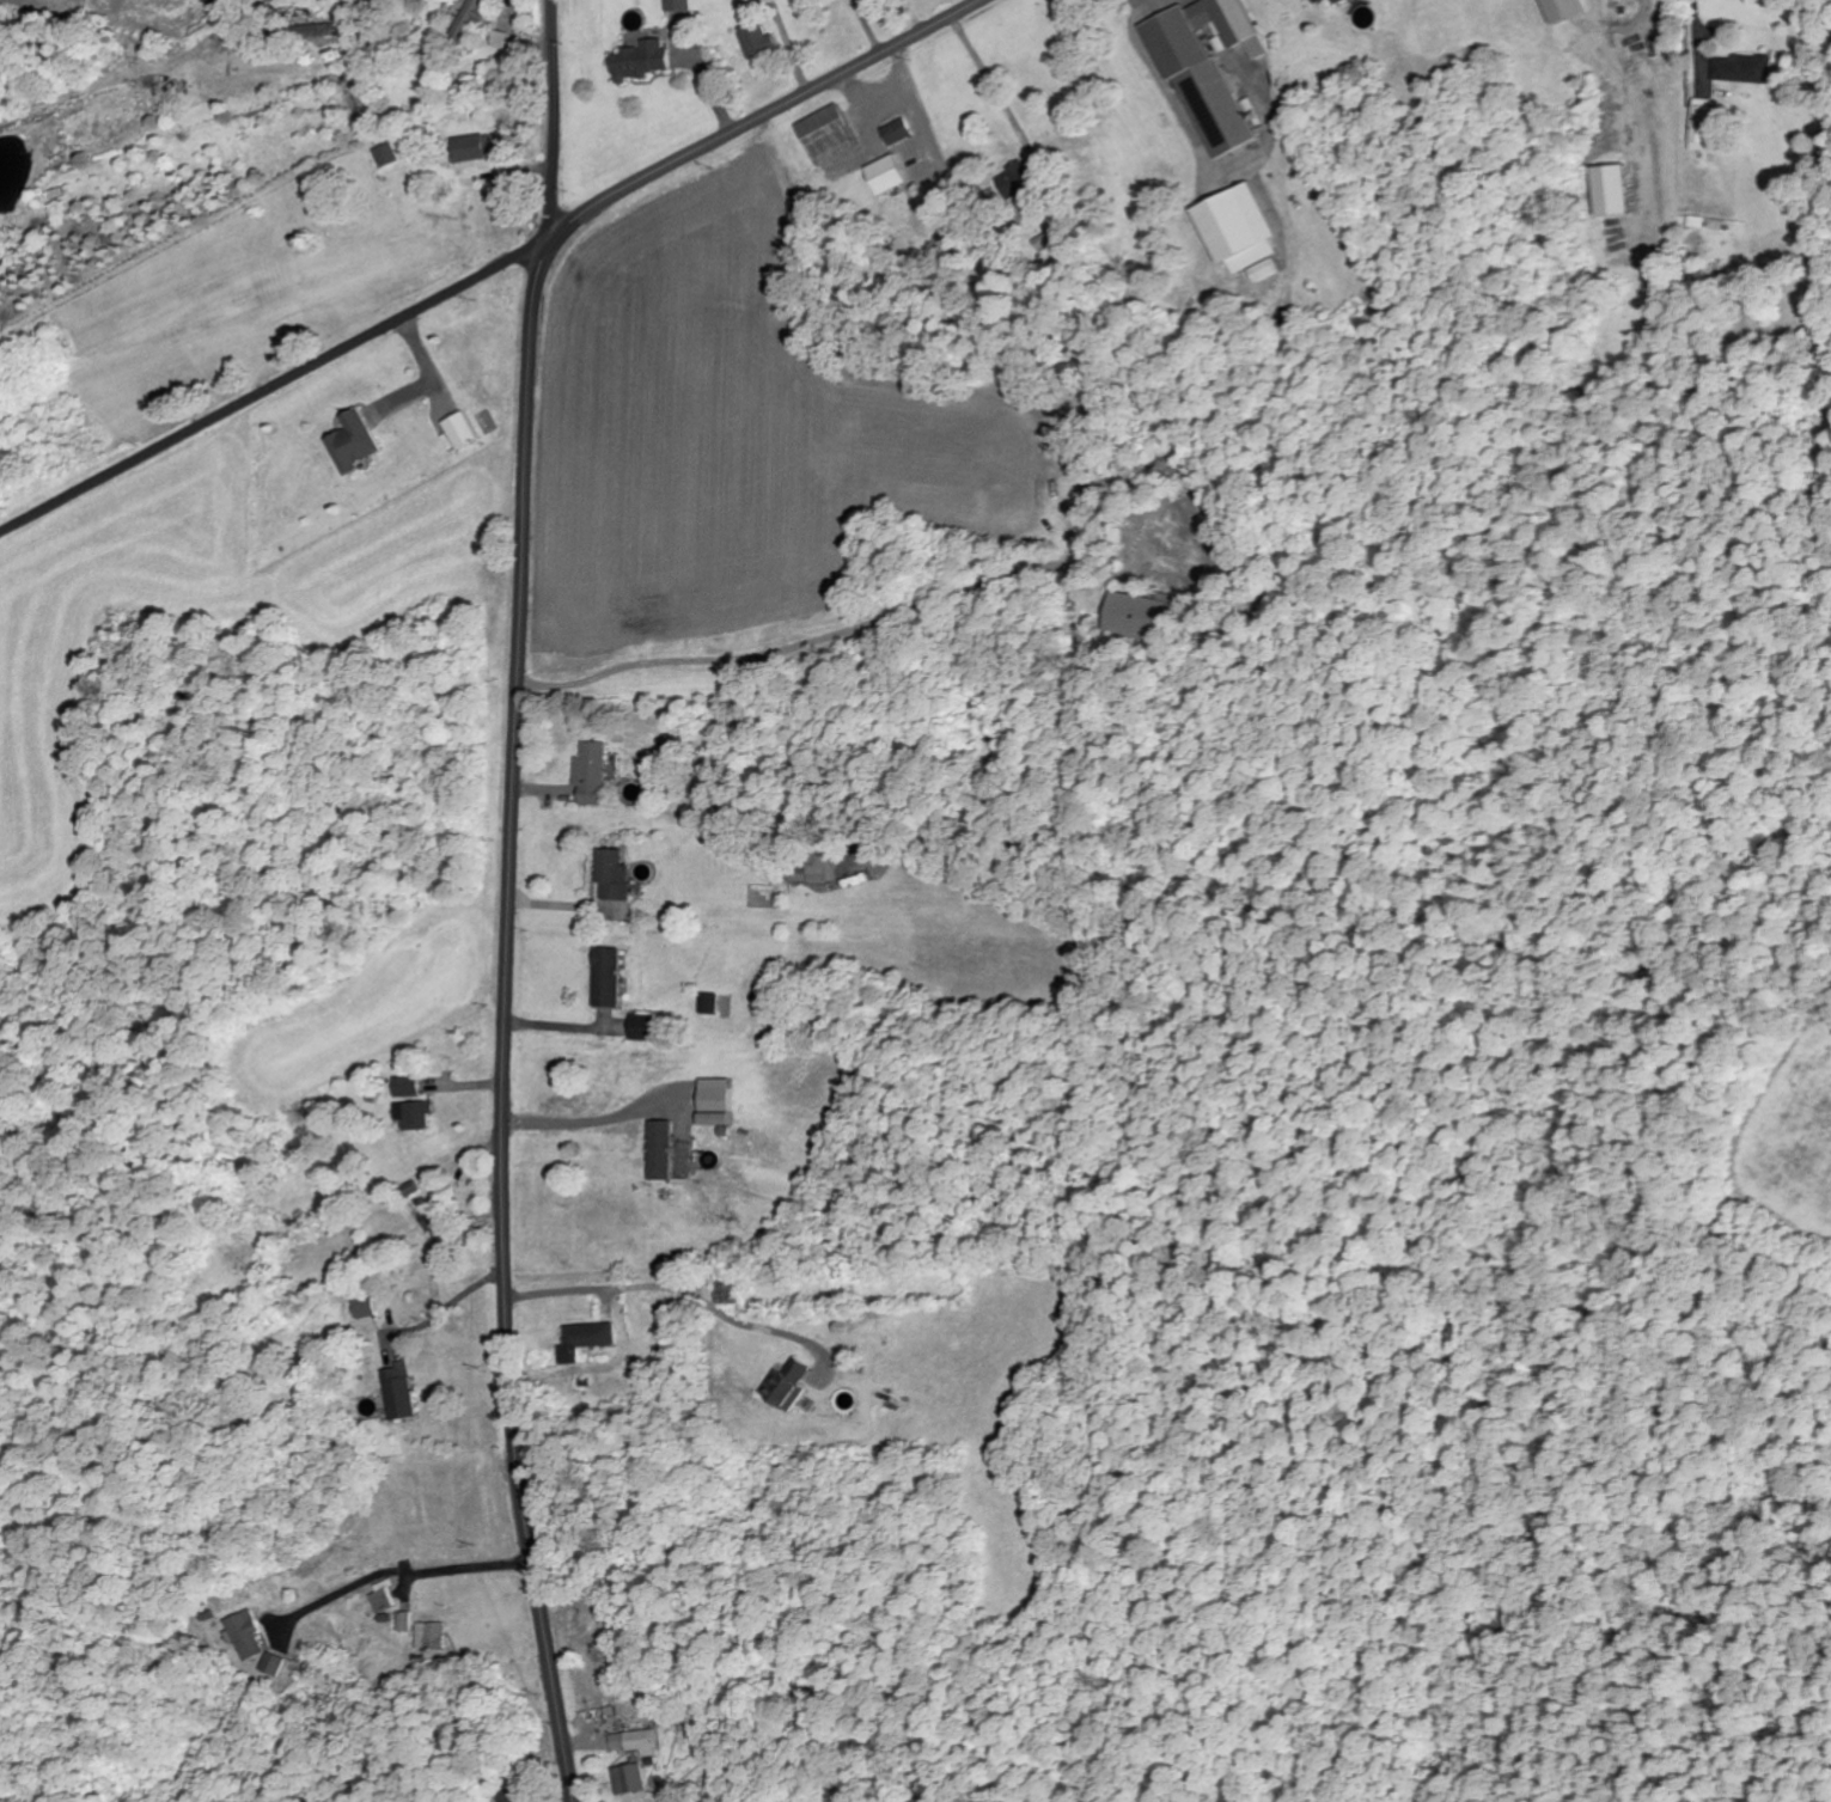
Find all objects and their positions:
building: (1316, 2)
building: (1337, 2)
building: (1561, 11)
building: (677, 18)
building: (756, 42)
building: (639, 62)
building: (1204, 68)
building: (1742, 71)
road: (554, 117)
building: (1699, 128)
building: (895, 134)
building: (825, 136)
building: (471, 149)
building: (385, 157)
building: (884, 177)
building: (1015, 183)
building: (1609, 193)
building: (1235, 231)
building: (1263, 273)
road: (274, 383)
building: (459, 432)
building: (350, 441)
building: (1136, 618)
building: (591, 774)
road: (513, 775)
building: (814, 869)
building: (611, 876)
building: (604, 978)
building: (707, 1004)
building: (637, 1030)
building: (404, 1088)
building: (712, 1104)
building: (411, 1116)
building: (658, 1152)
building: (408, 1192)
building: (431, 1222)
building: (362, 1308)
building: (582, 1340)
building: (783, 1387)
building: (397, 1393)
building: (382, 1599)
building: (403, 1623)
building: (244, 1637)
building: (429, 1637)
building: (271, 1666)
building: (636, 1745)
building: (629, 1780)
building: (508, 1795)

